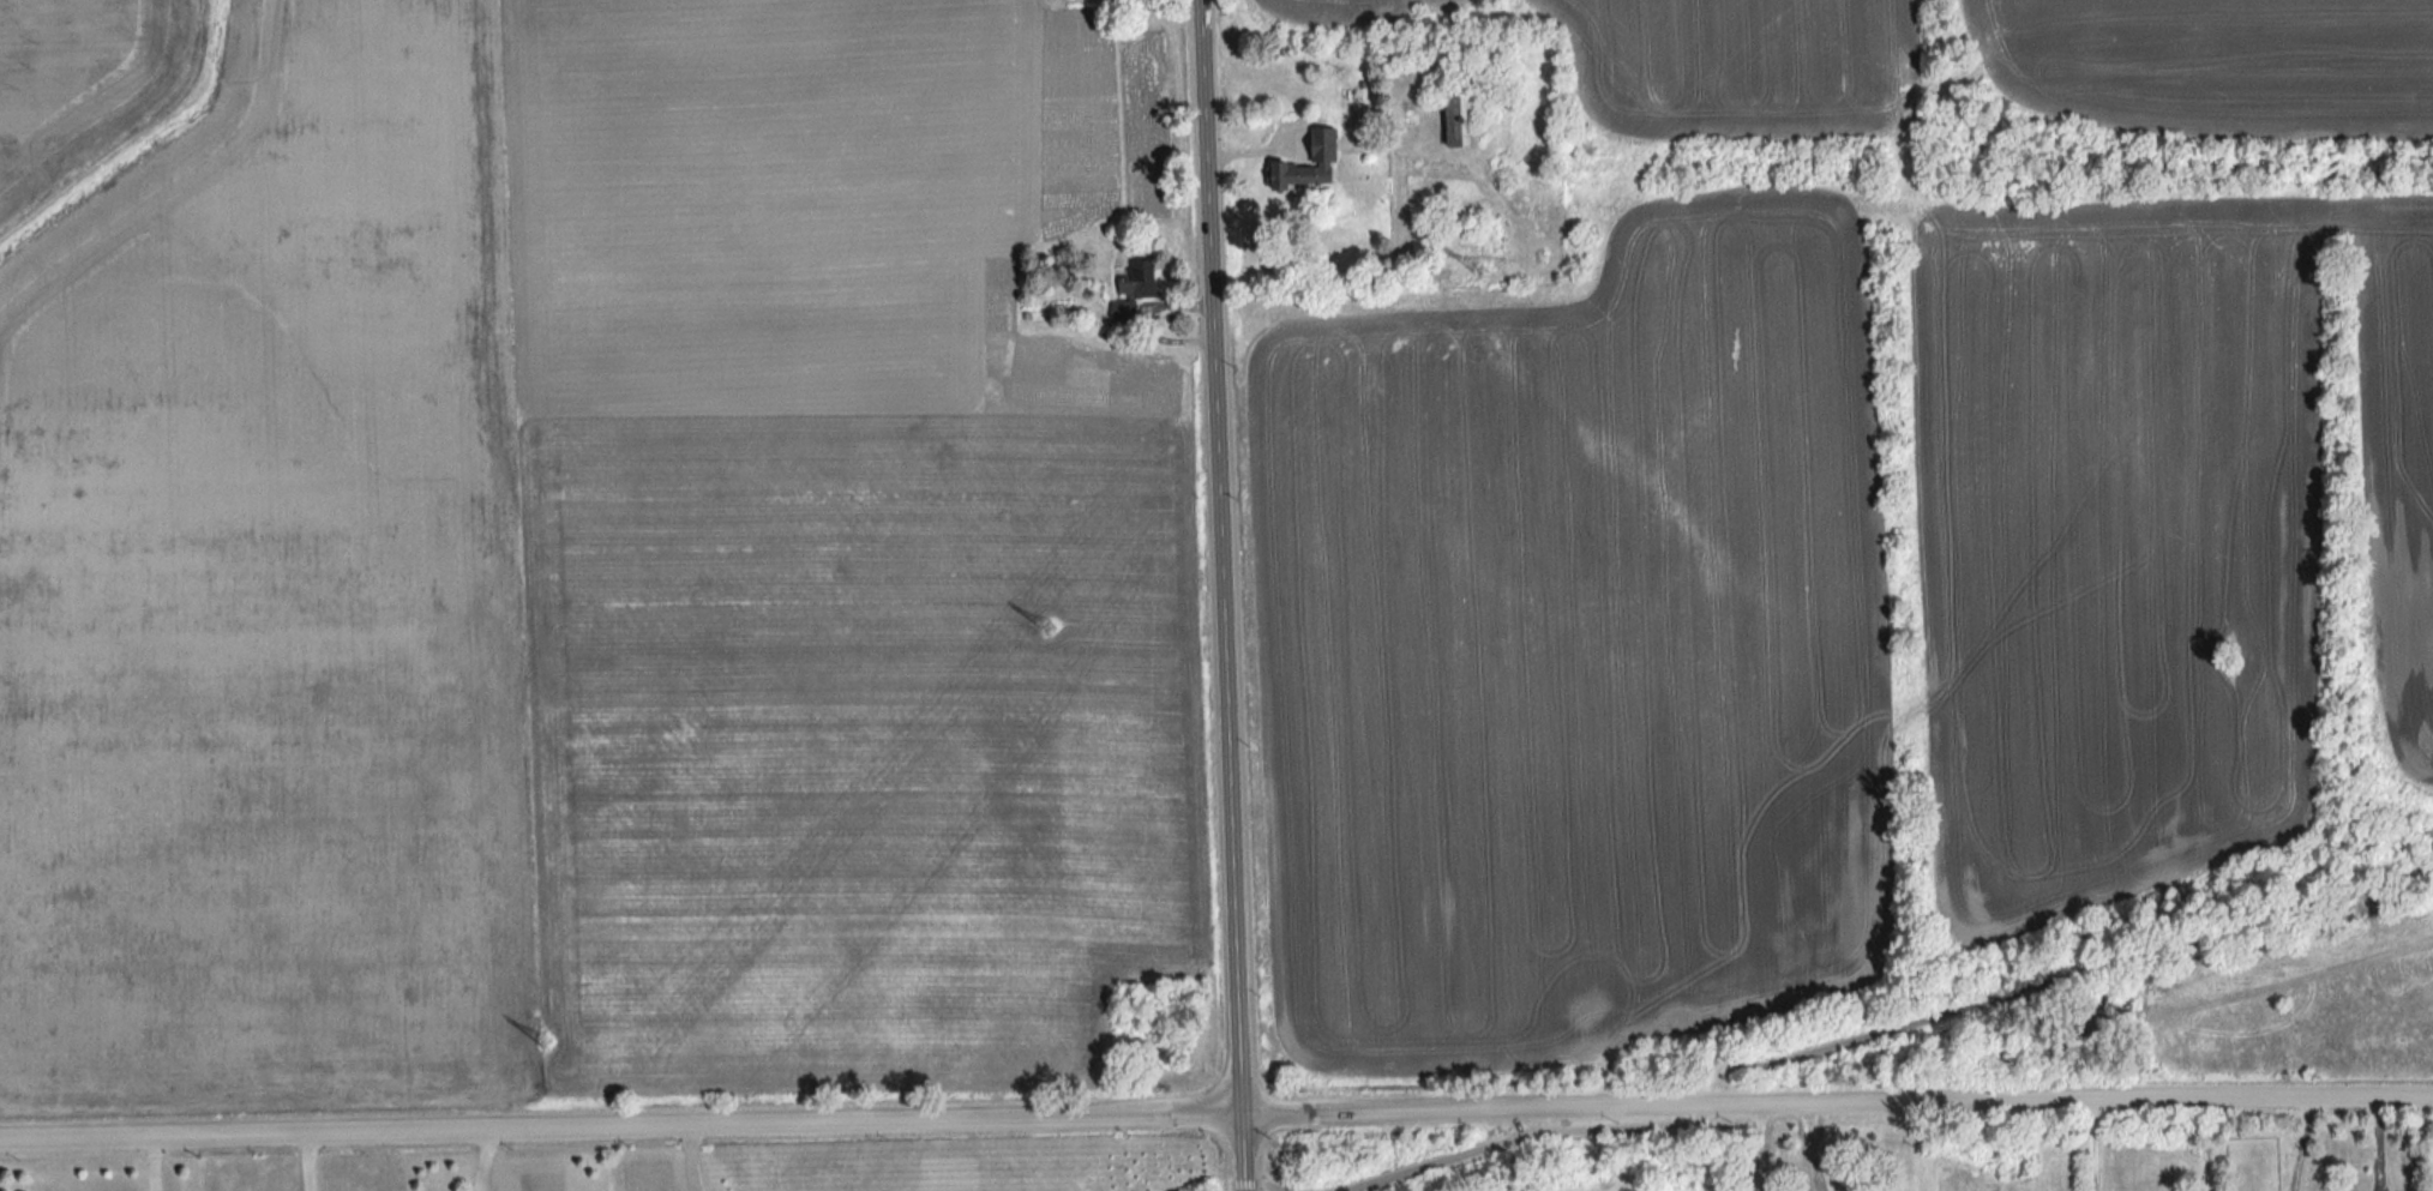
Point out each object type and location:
crop: (1360, 10)
crop: (1740, 64)
crop: (2213, 65)
crop: (80, 88)
building: (1467, 118)
building: (1300, 174)
power tower: (1483, 275)
building: (1142, 278)
crop: (2145, 533)
road: (1220, 558)
crop: (590, 572)
power tower: (1051, 628)
crop: (1575, 649)
road: (1875, 1035)
power tower: (546, 1040)
road: (1836, 1106)
road: (620, 1130)
road: (2305, 1147)
road: (2093, 1148)
road: (1819, 1149)
road: (1242, 1151)
road: (695, 1160)
road: (313, 1163)
road: (1252, 1185)
crop: (1598, 1186)
road: (1244, 1189)

